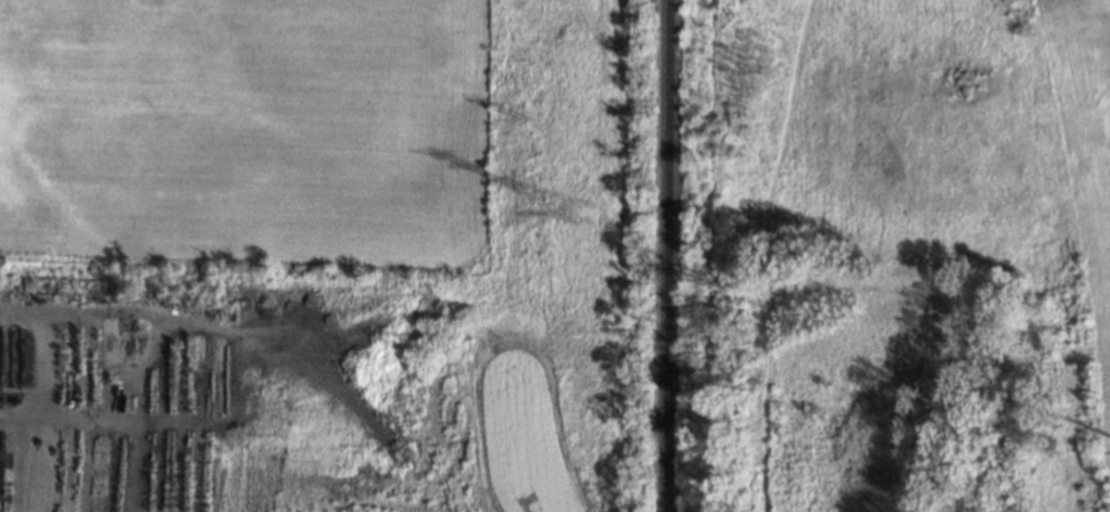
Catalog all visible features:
power tower: (525, 118)
power tower: (580, 210)
railway: (666, 255)
building: (5, 359)

